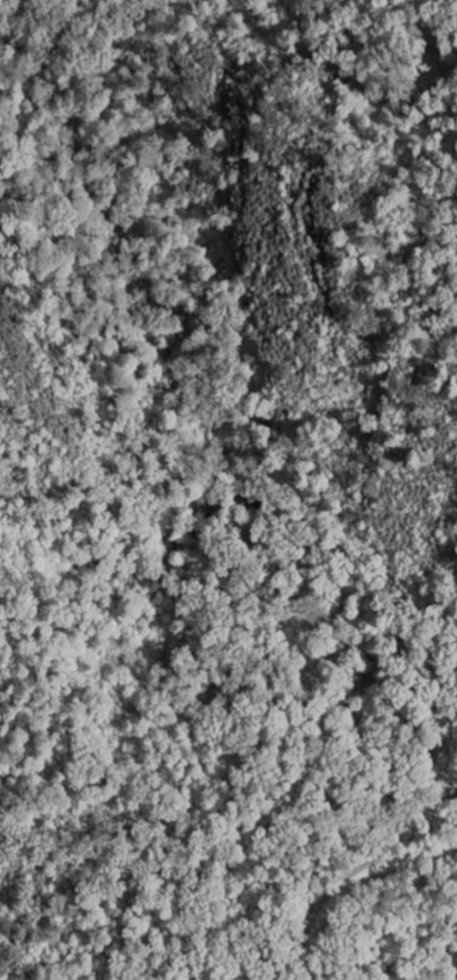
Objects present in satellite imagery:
road: (355, 884)

